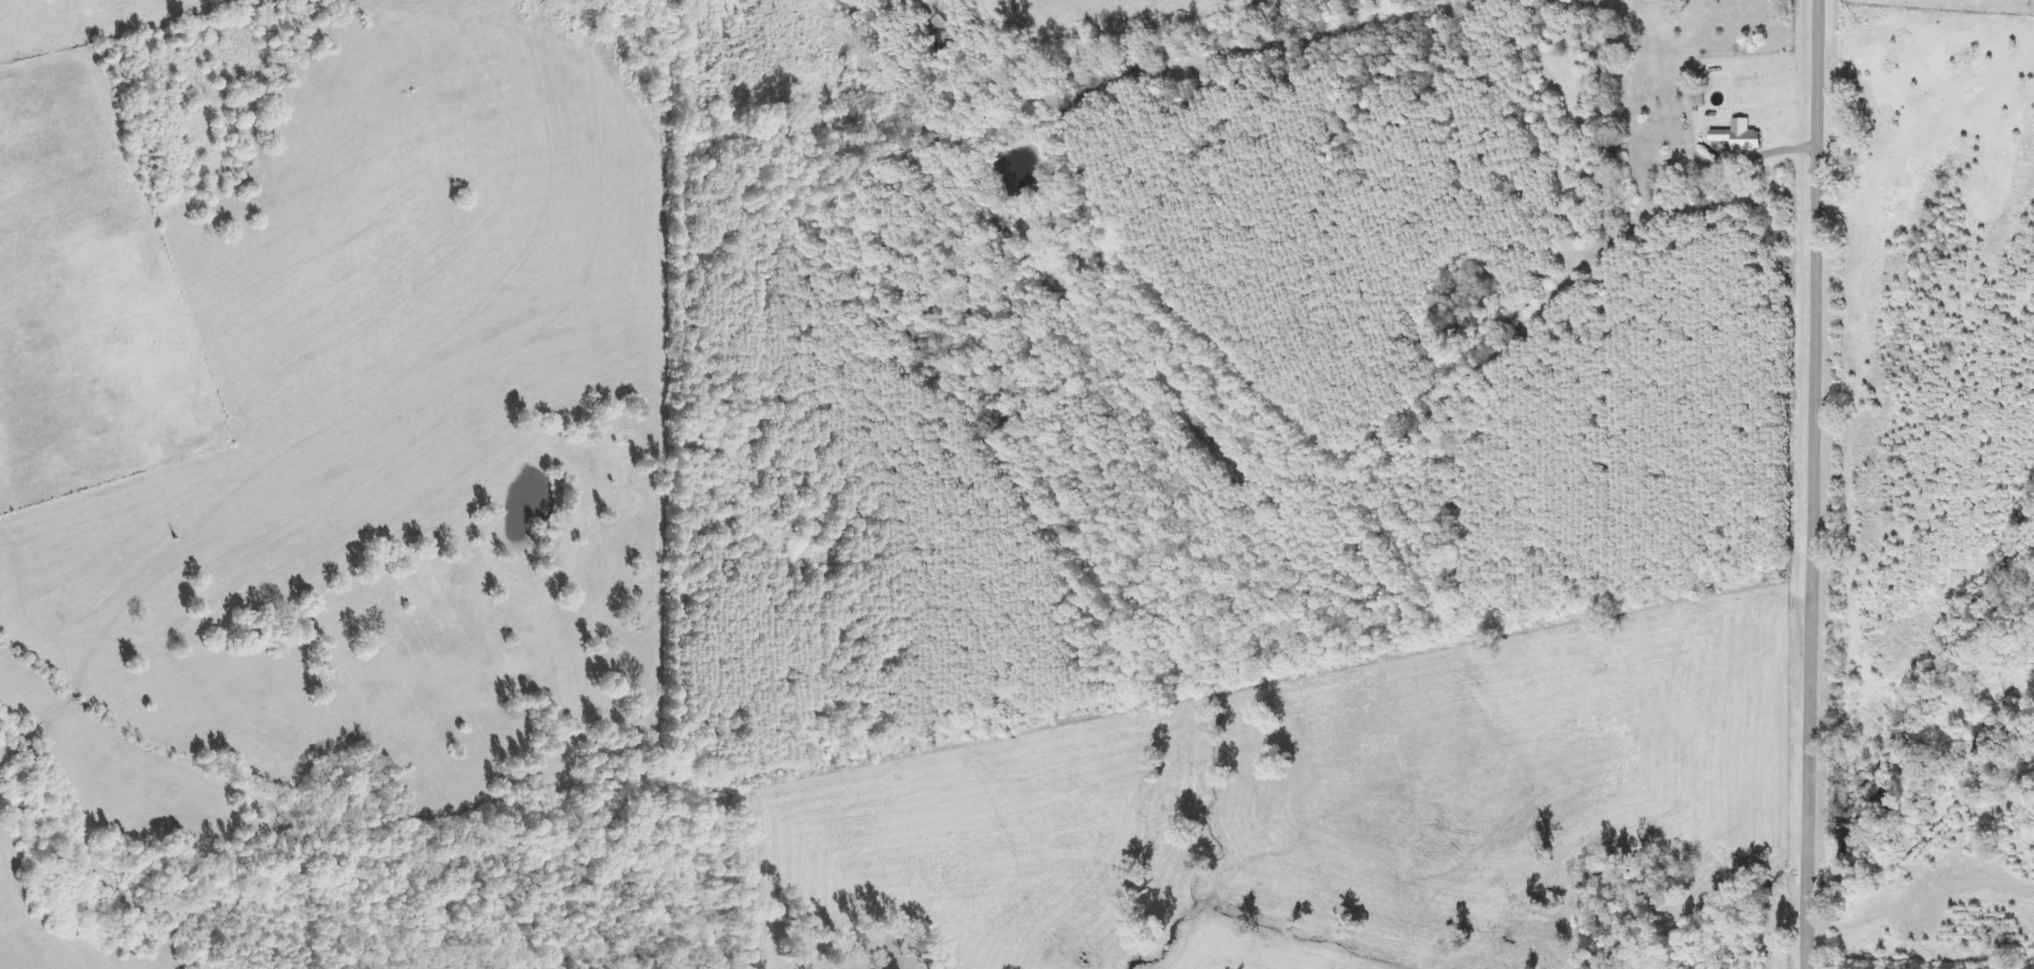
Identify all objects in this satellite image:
road: (1811, 484)

